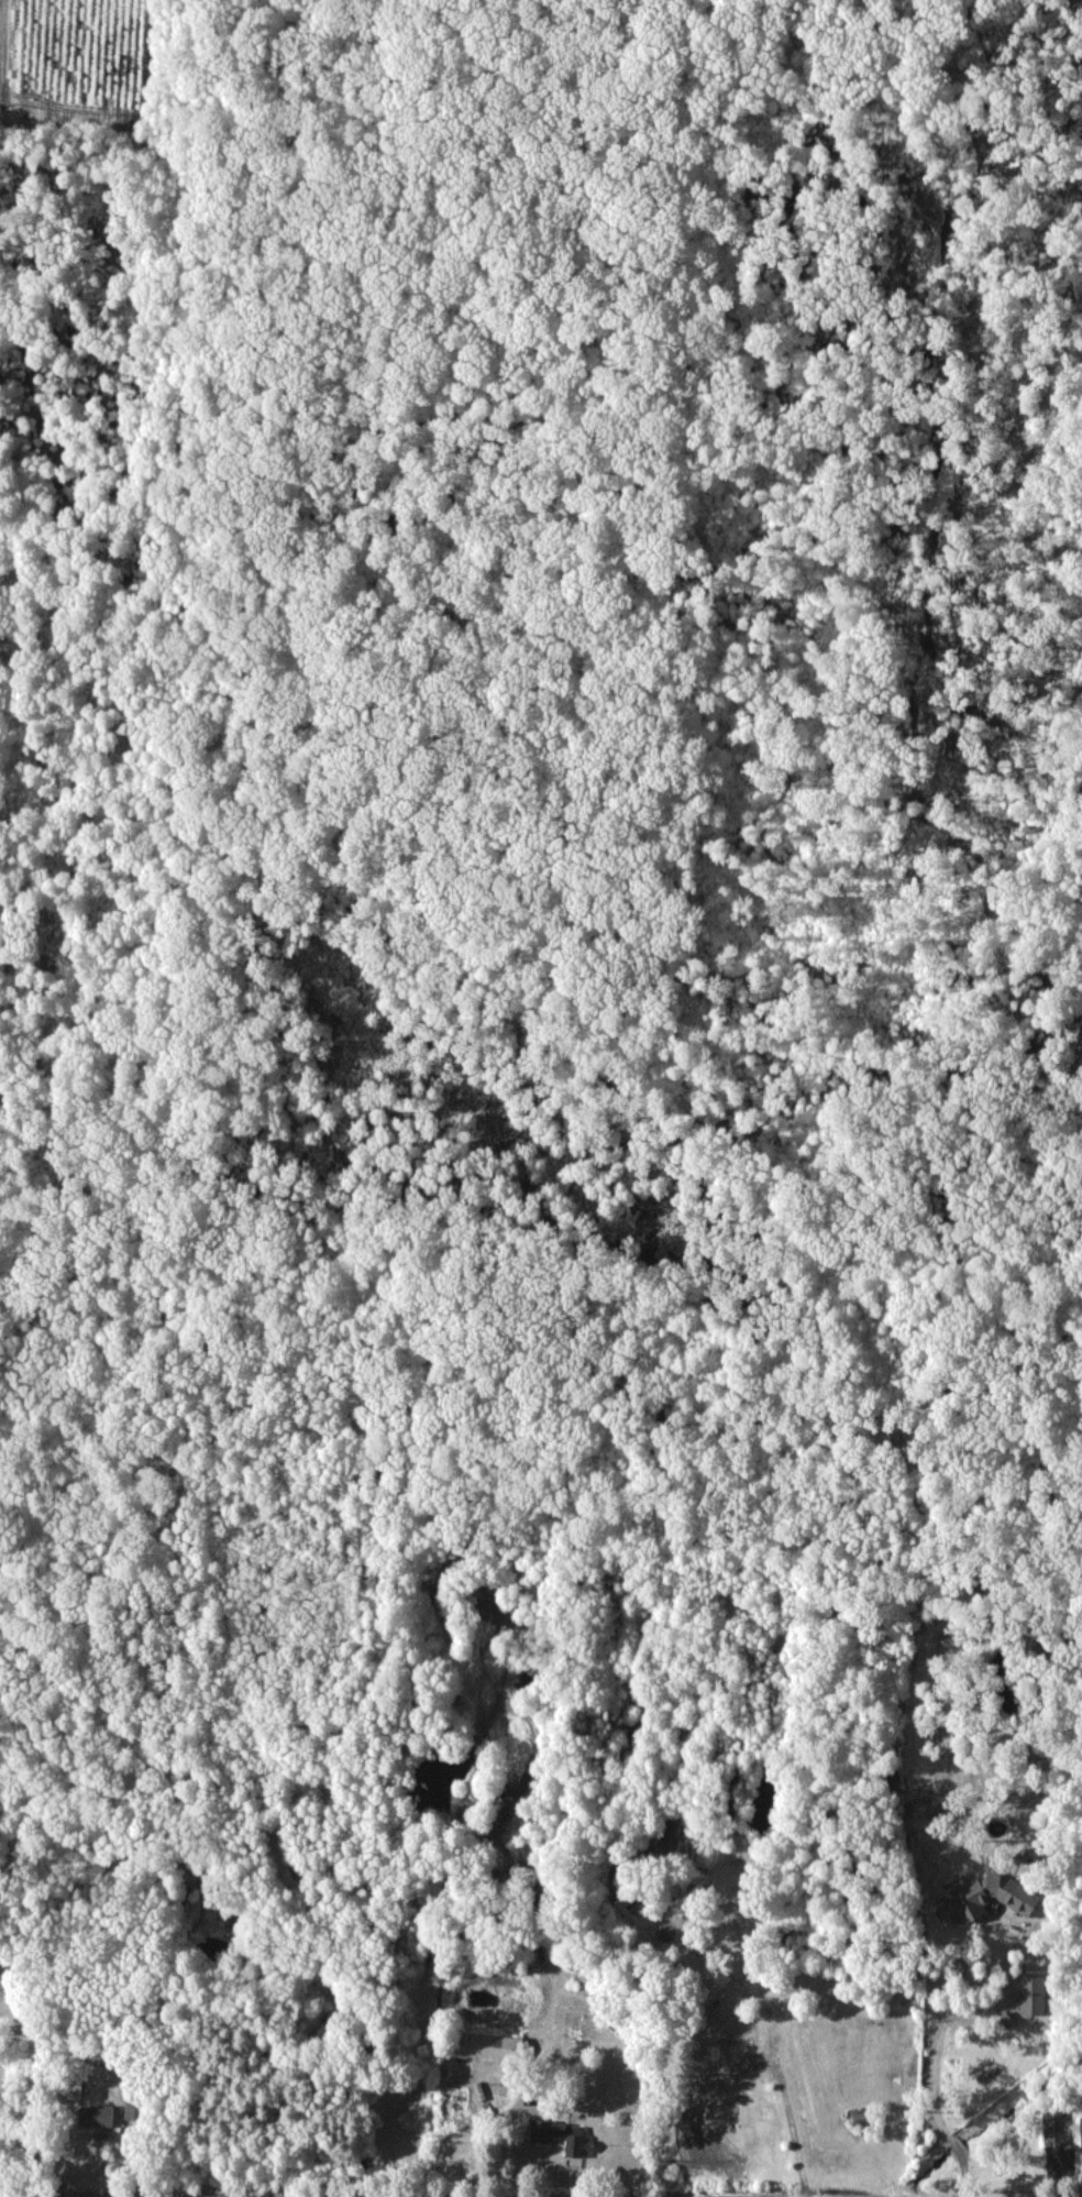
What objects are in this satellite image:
building: (984, 1897)
building: (1031, 1992)
building: (487, 2045)
road: (935, 2077)
building: (99, 2116)
building: (1052, 2127)
building: (1081, 2128)
building: (540, 2136)
road: (32, 2195)

